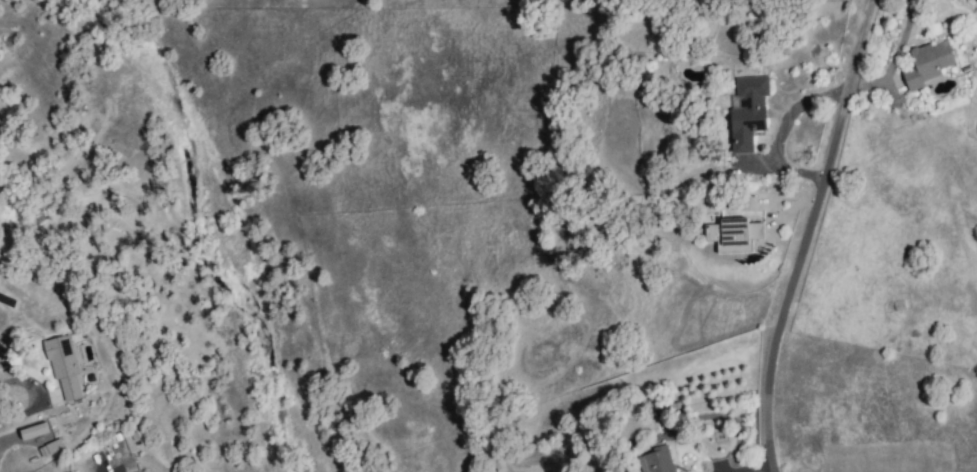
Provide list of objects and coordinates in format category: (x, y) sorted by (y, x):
building: (926, 64)
building: (747, 112)
building: (732, 235)
road: (808, 235)
building: (62, 366)
building: (33, 431)
building: (49, 448)
building: (655, 461)

